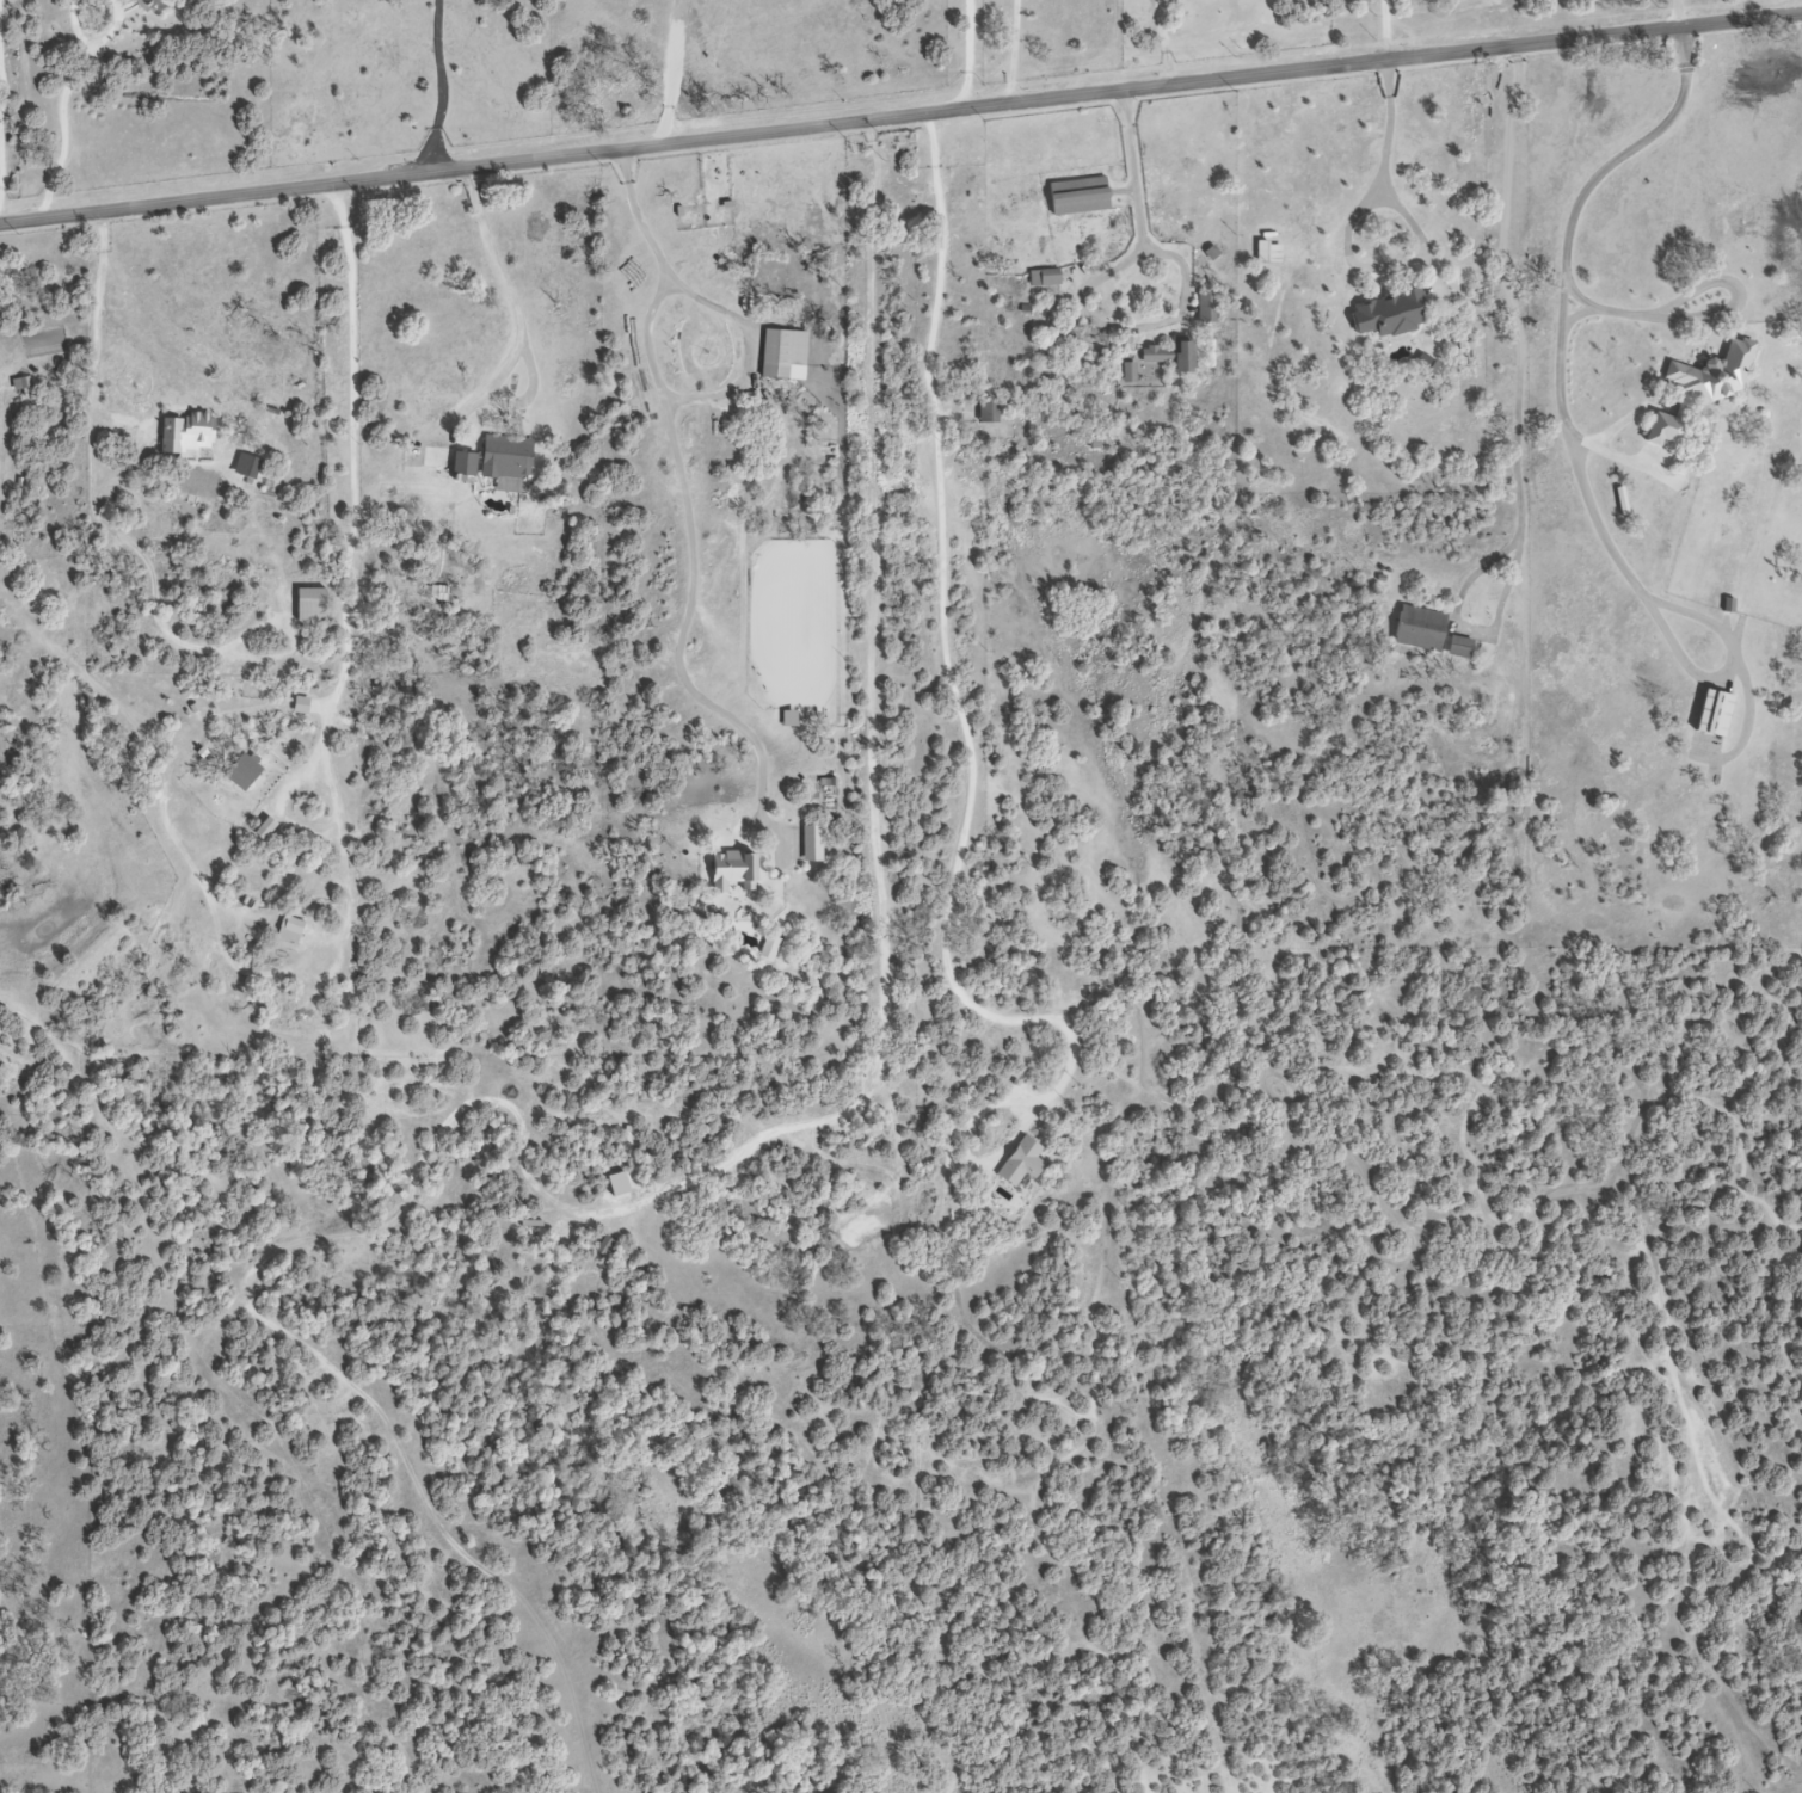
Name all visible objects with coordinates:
building: (144, 4)
road: (1678, 13)
road: (1388, 31)
road: (1167, 43)
road: (1015, 51)
road: (970, 55)
road: (671, 72)
road: (443, 87)
road: (8, 111)
road: (900, 118)
road: (66, 129)
road: (1580, 195)
building: (1076, 197)
road: (1142, 209)
road: (1355, 244)
building: (1044, 279)
building: (1207, 309)
building: (1386, 315)
road: (517, 321)
road: (96, 332)
building: (782, 355)
building: (1168, 357)
building: (1126, 374)
building: (1711, 374)
building: (18, 384)
road: (1518, 409)
building: (988, 412)
building: (1658, 431)
building: (185, 433)
building: (502, 461)
building: (459, 466)
building: (244, 467)
road: (365, 493)
road: (695, 512)
building: (307, 605)
building: (1419, 630)
building: (1459, 649)
road: (948, 655)
building: (1710, 715)
building: (241, 771)
building: (811, 845)
building: (728, 871)
building: (287, 931)
building: (768, 949)
building: (745, 1787)

